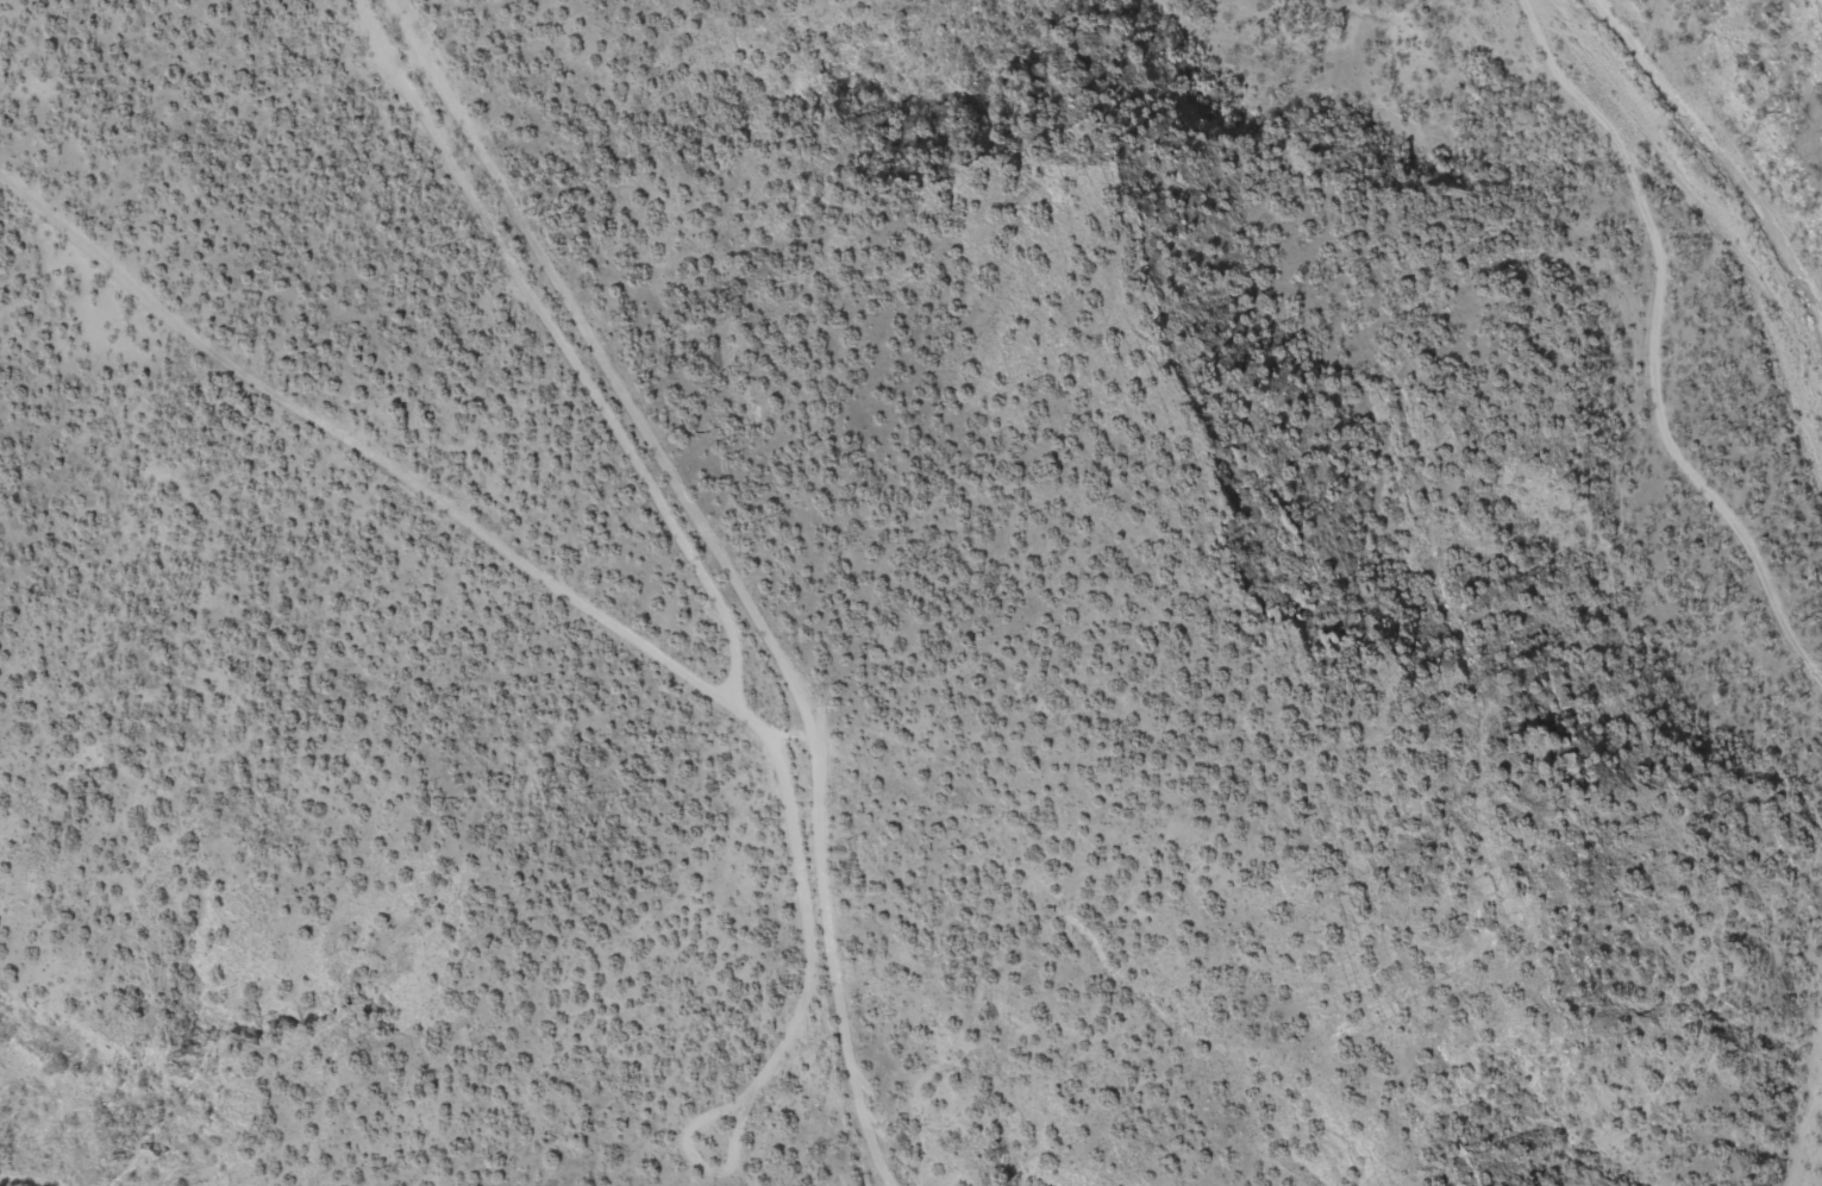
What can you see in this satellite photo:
road: (1657, 445)

